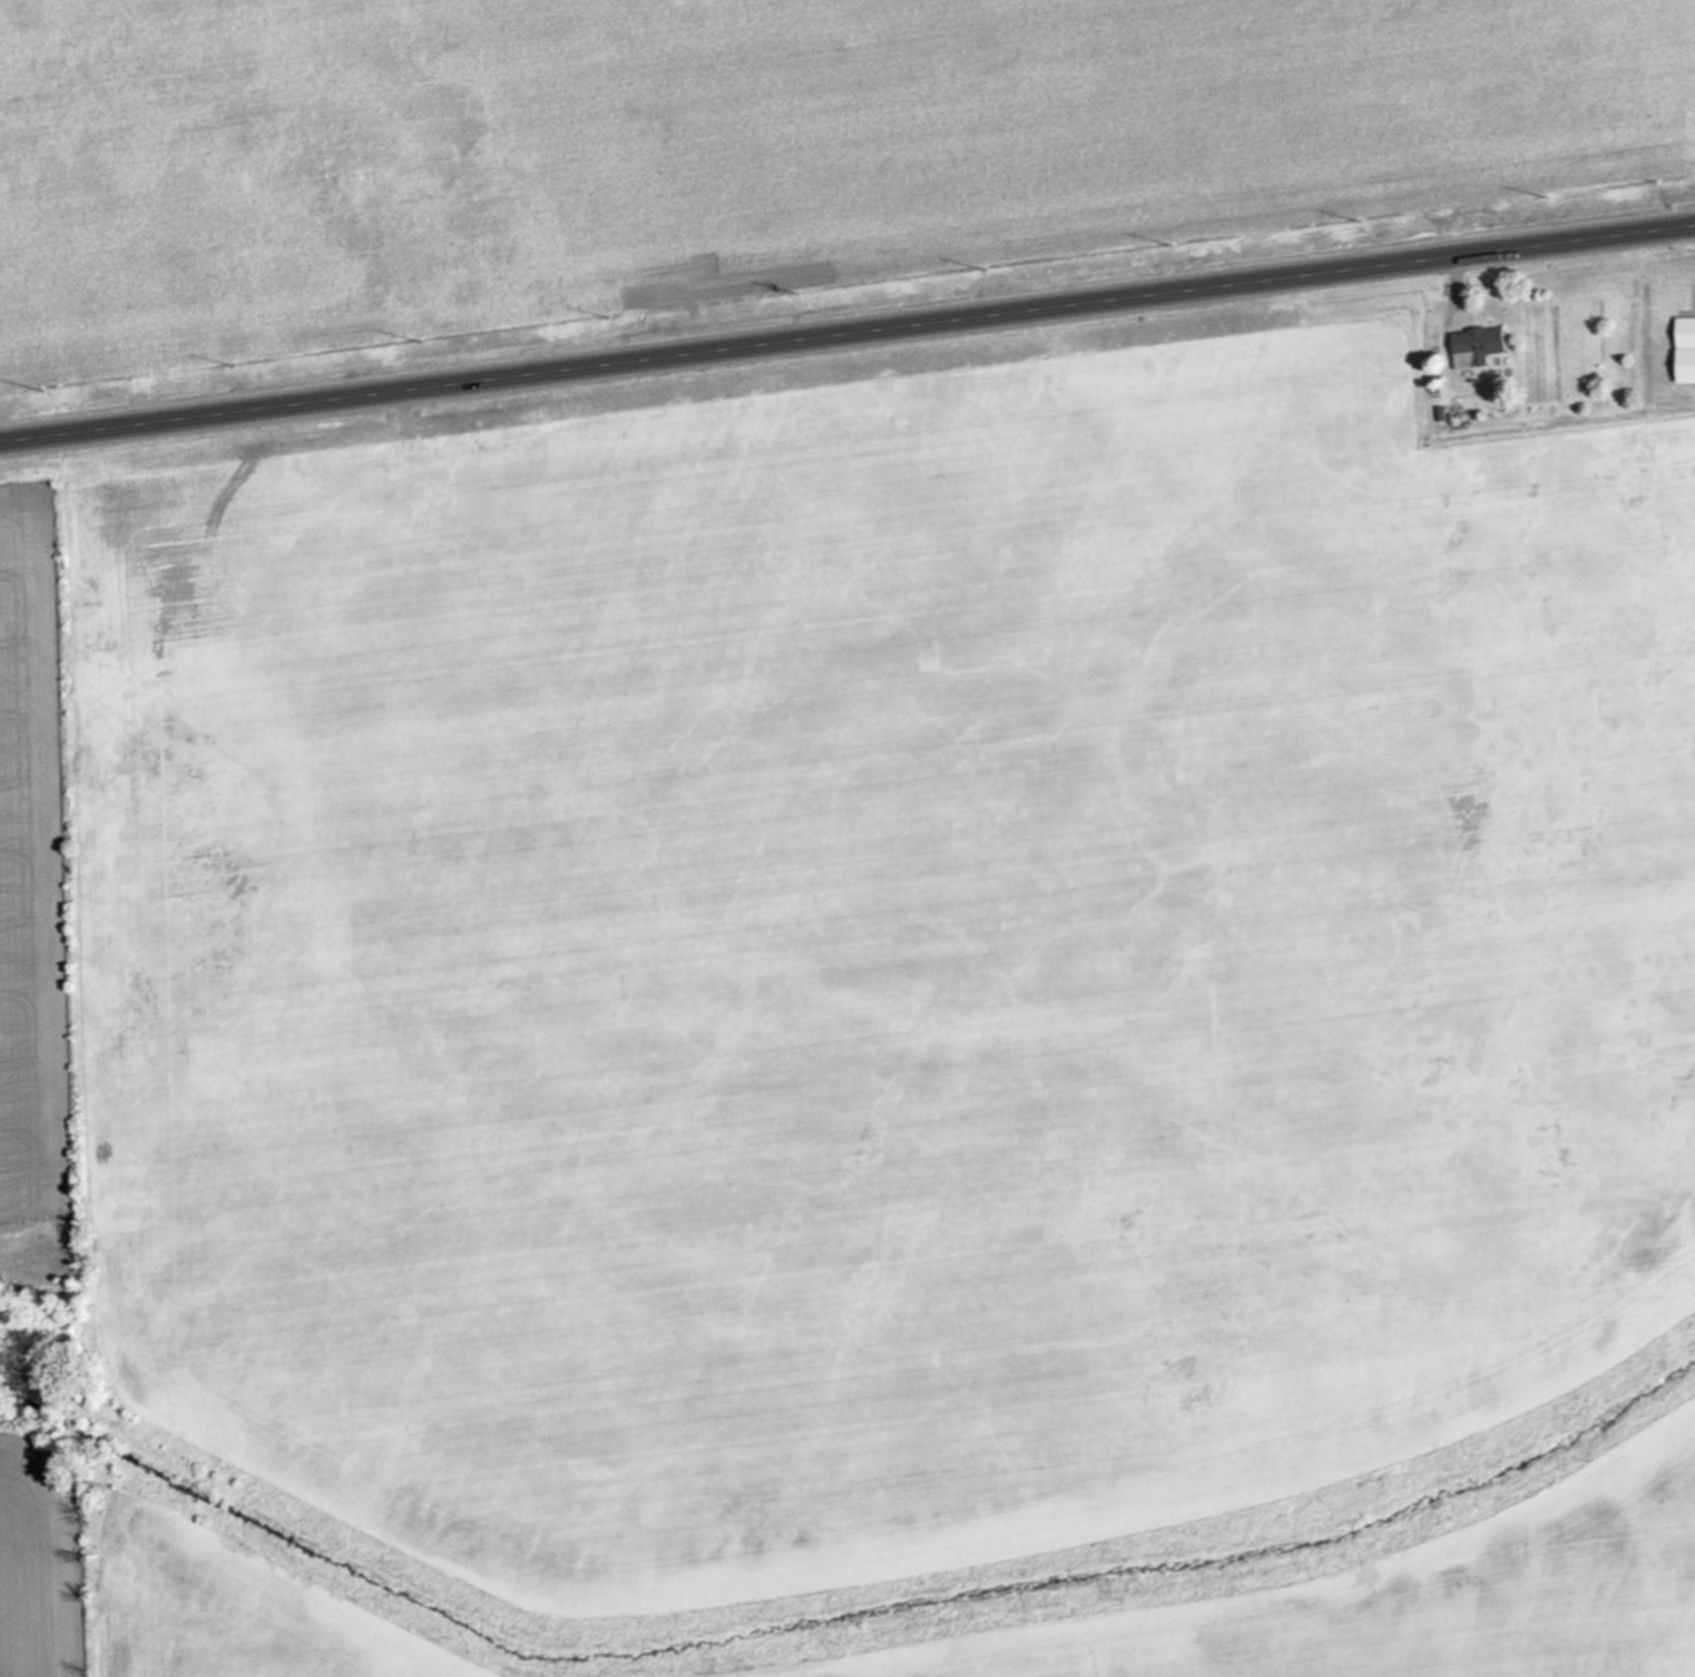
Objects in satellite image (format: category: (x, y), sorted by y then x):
road: (846, 330)
building: (1474, 344)
building: (1683, 349)

